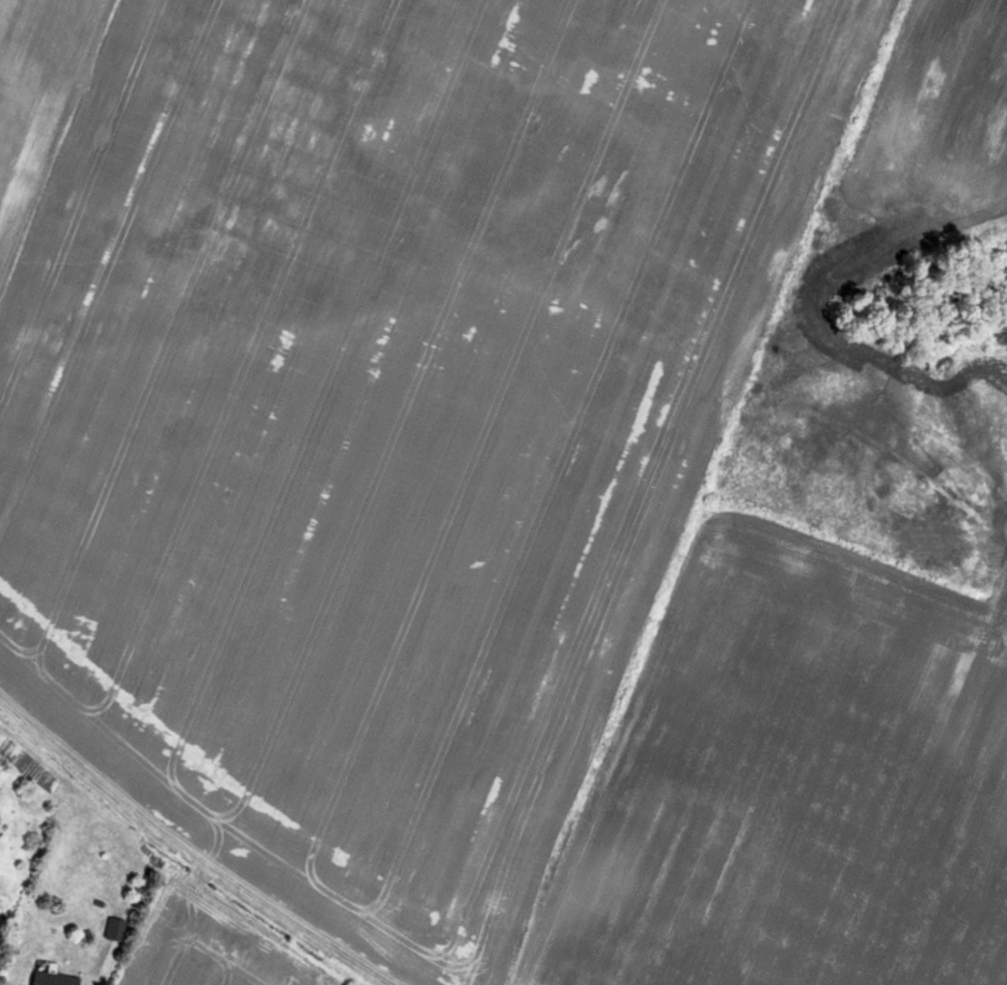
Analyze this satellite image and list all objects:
crop: (33, 84)
crop: (400, 400)
crop: (800, 785)
building: (114, 930)
building: (53, 979)

